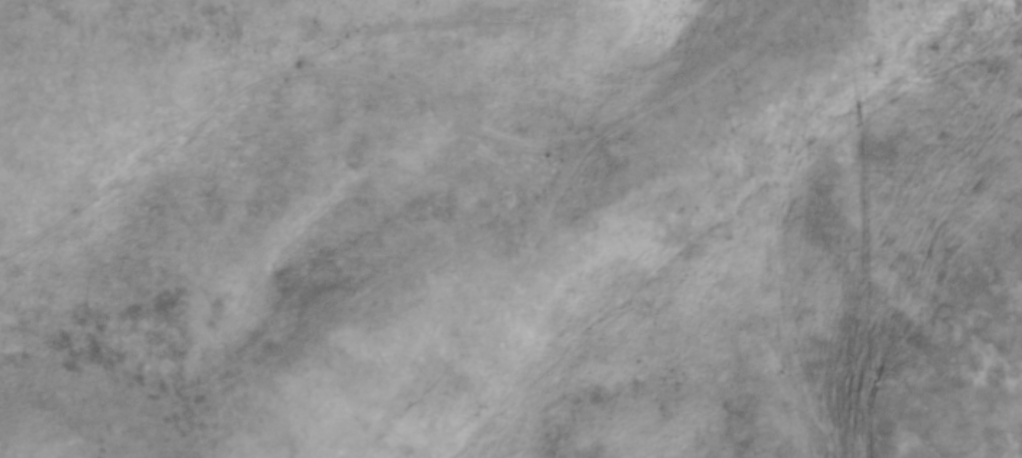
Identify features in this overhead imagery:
road: (404, 88)

